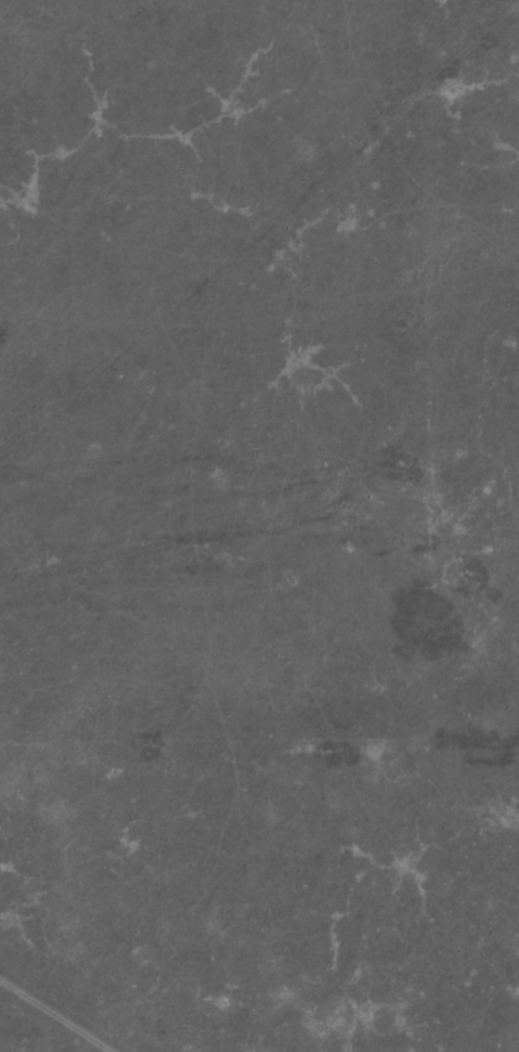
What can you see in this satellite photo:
road: (276, 728)
road: (125, 974)
road: (121, 1012)

